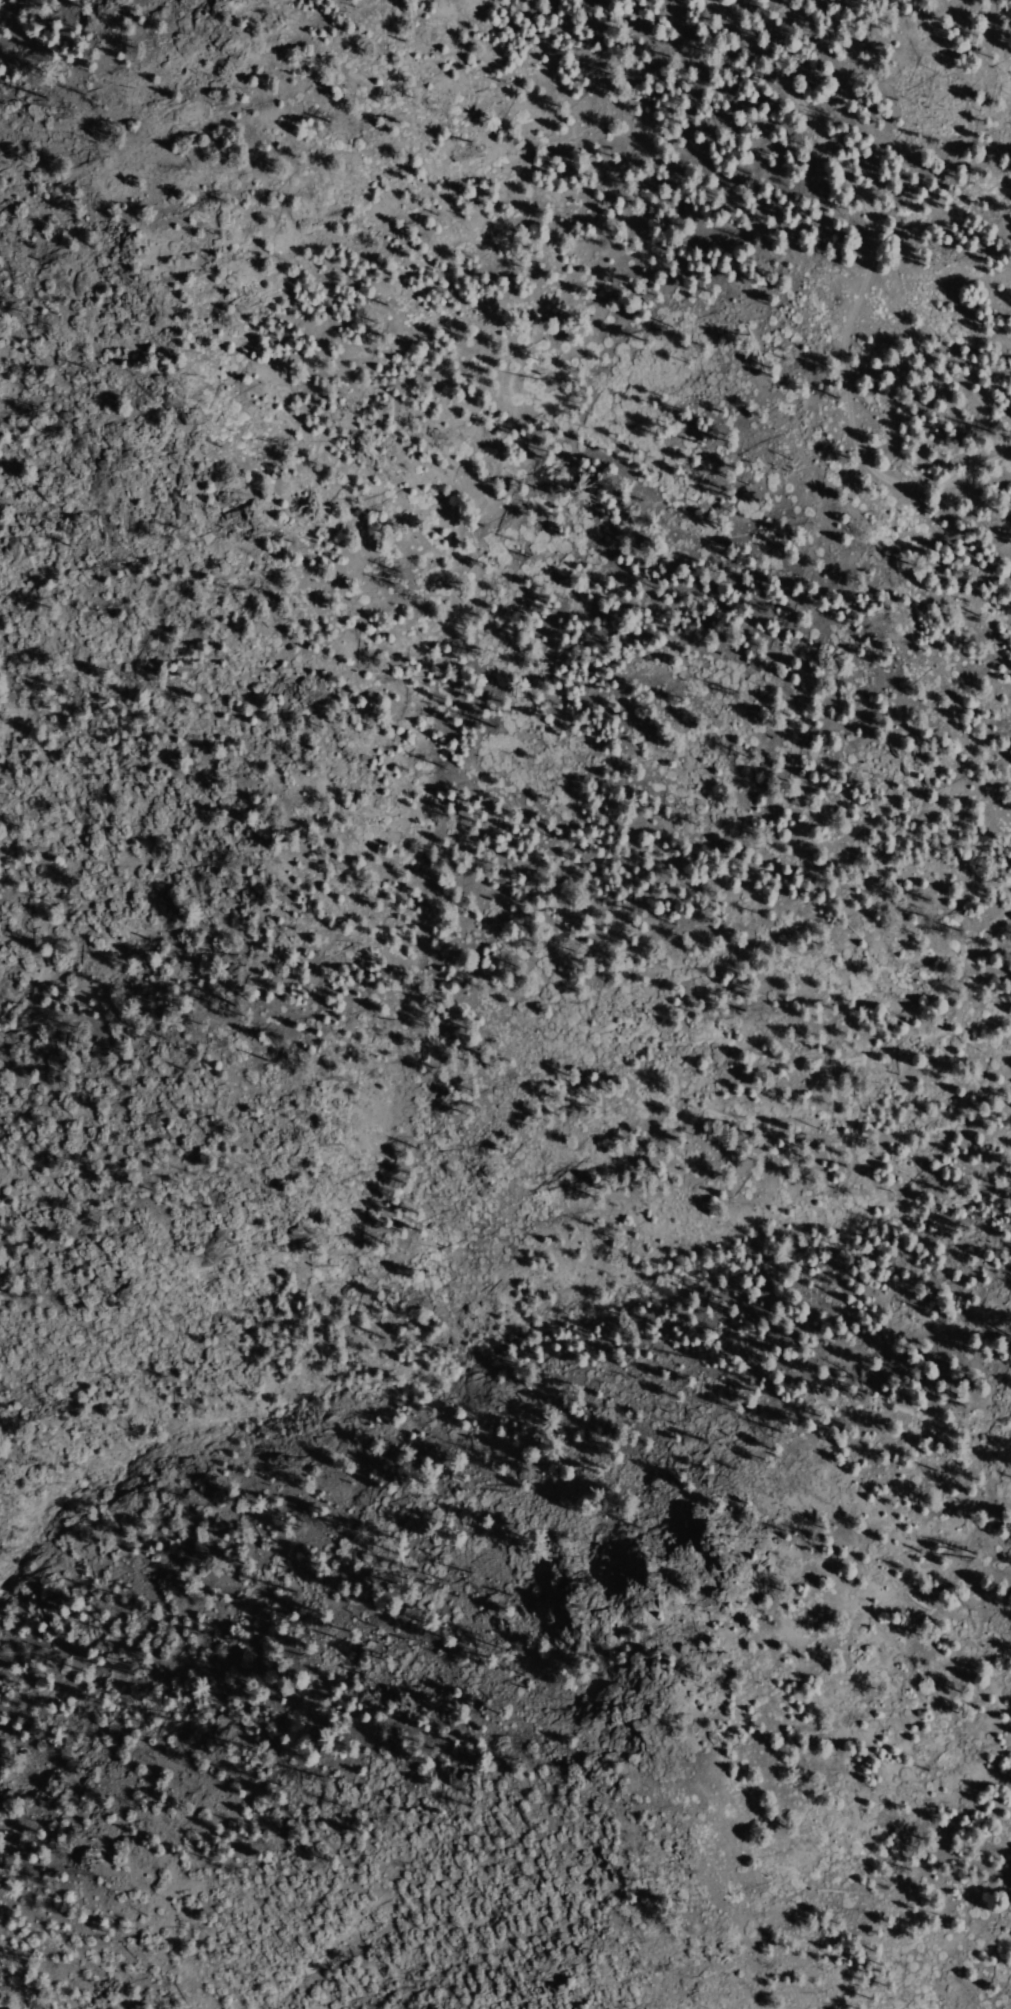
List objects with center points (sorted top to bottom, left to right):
road: (861, 286)

